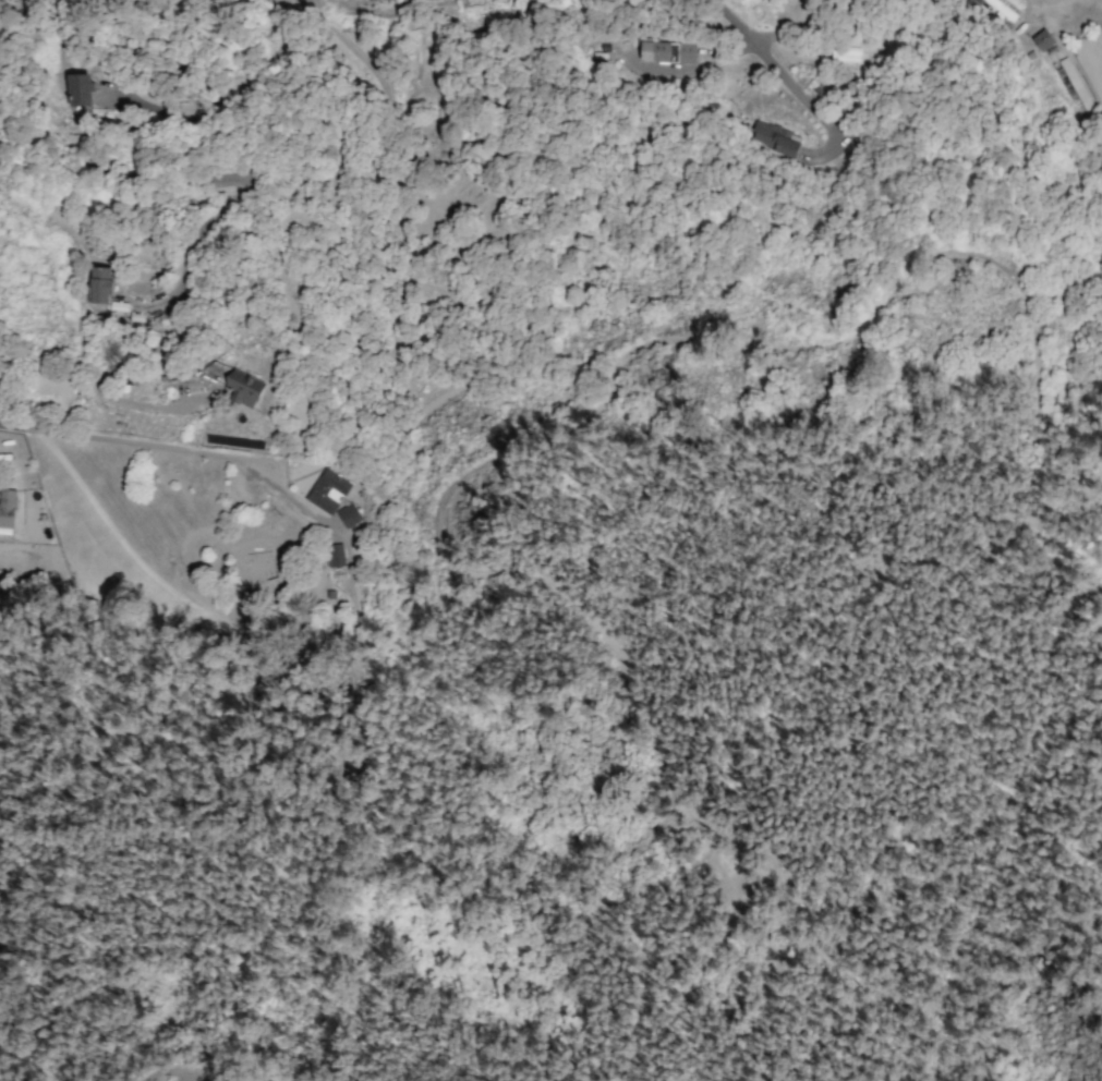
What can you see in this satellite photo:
building: (468, 0)
building: (994, 8)
building: (1042, 39)
building: (655, 50)
building: (687, 52)
building: (845, 53)
road: (774, 65)
building: (80, 88)
building: (775, 138)
building: (100, 284)
building: (235, 382)
road: (179, 453)
building: (327, 489)
building: (7, 511)
building: (349, 514)
building: (335, 555)

